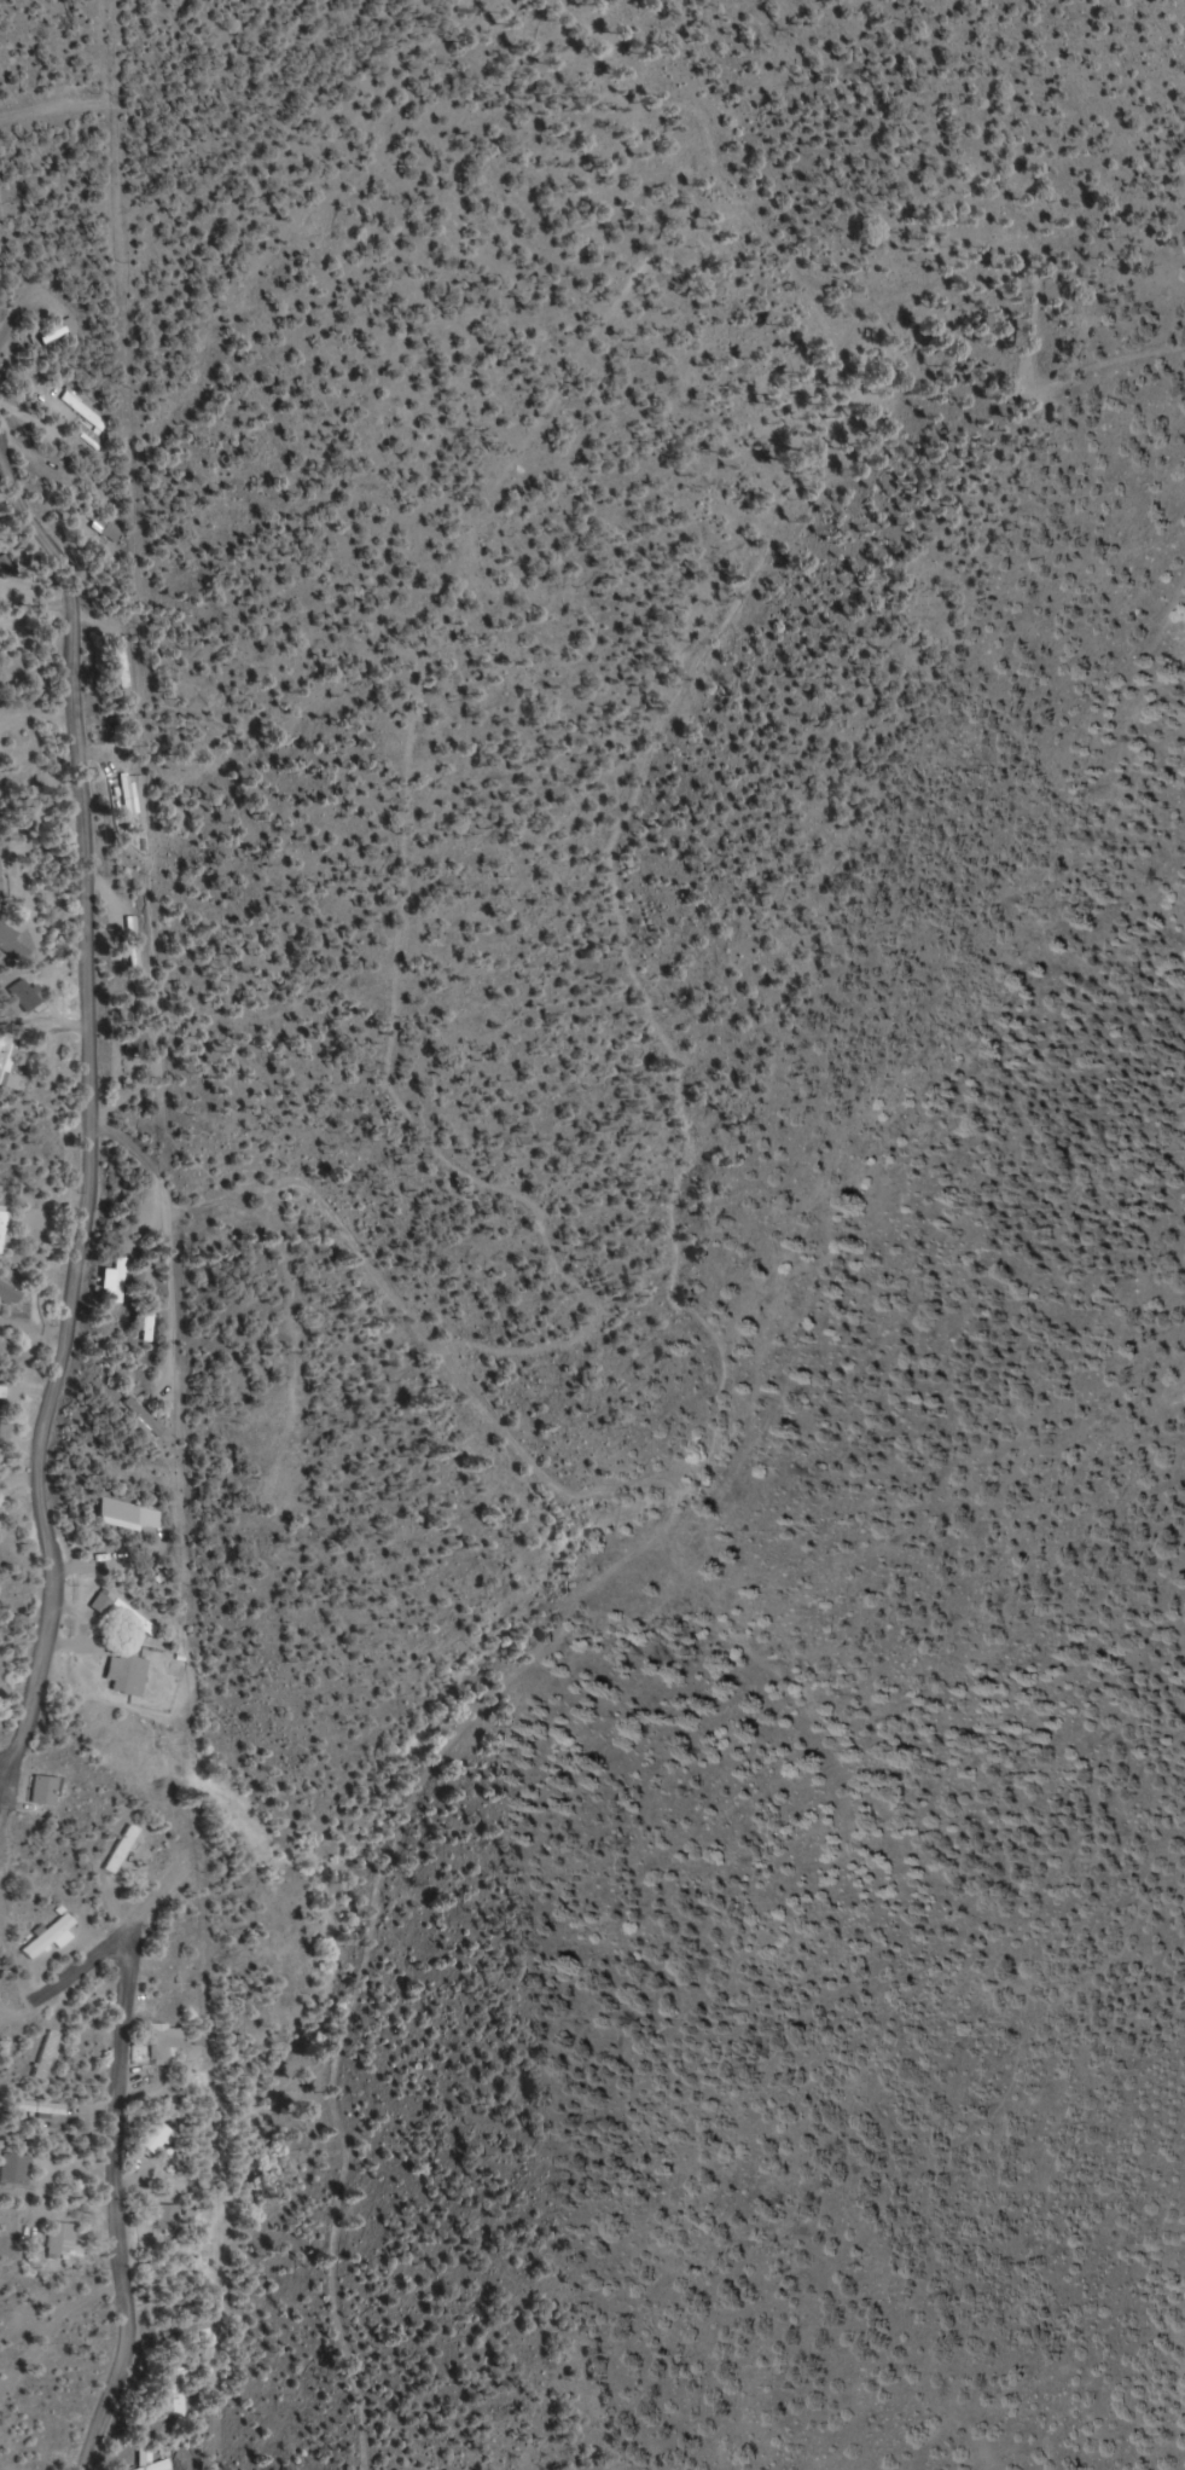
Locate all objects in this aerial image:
building: (86, 417)
building: (105, 526)
building: (7, 567)
building: (122, 663)
building: (10, 941)
building: (25, 995)
building: (11, 1061)
road: (92, 1104)
building: (5, 1231)
building: (117, 1281)
building: (10, 1293)
building: (145, 1326)
building: (1, 1420)
building: (120, 1512)
building: (124, 1611)
building: (130, 1675)
road: (5, 1764)
building: (43, 1791)
road: (5, 1797)
building: (123, 1851)
road: (146, 1902)
building: (50, 1938)
building: (164, 2043)
building: (46, 2056)
building: (41, 2107)
road: (116, 2132)
building: (156, 2139)
building: (14, 2169)
building: (167, 2219)
building: (64, 2242)
building: (178, 2393)
building: (152, 2464)

